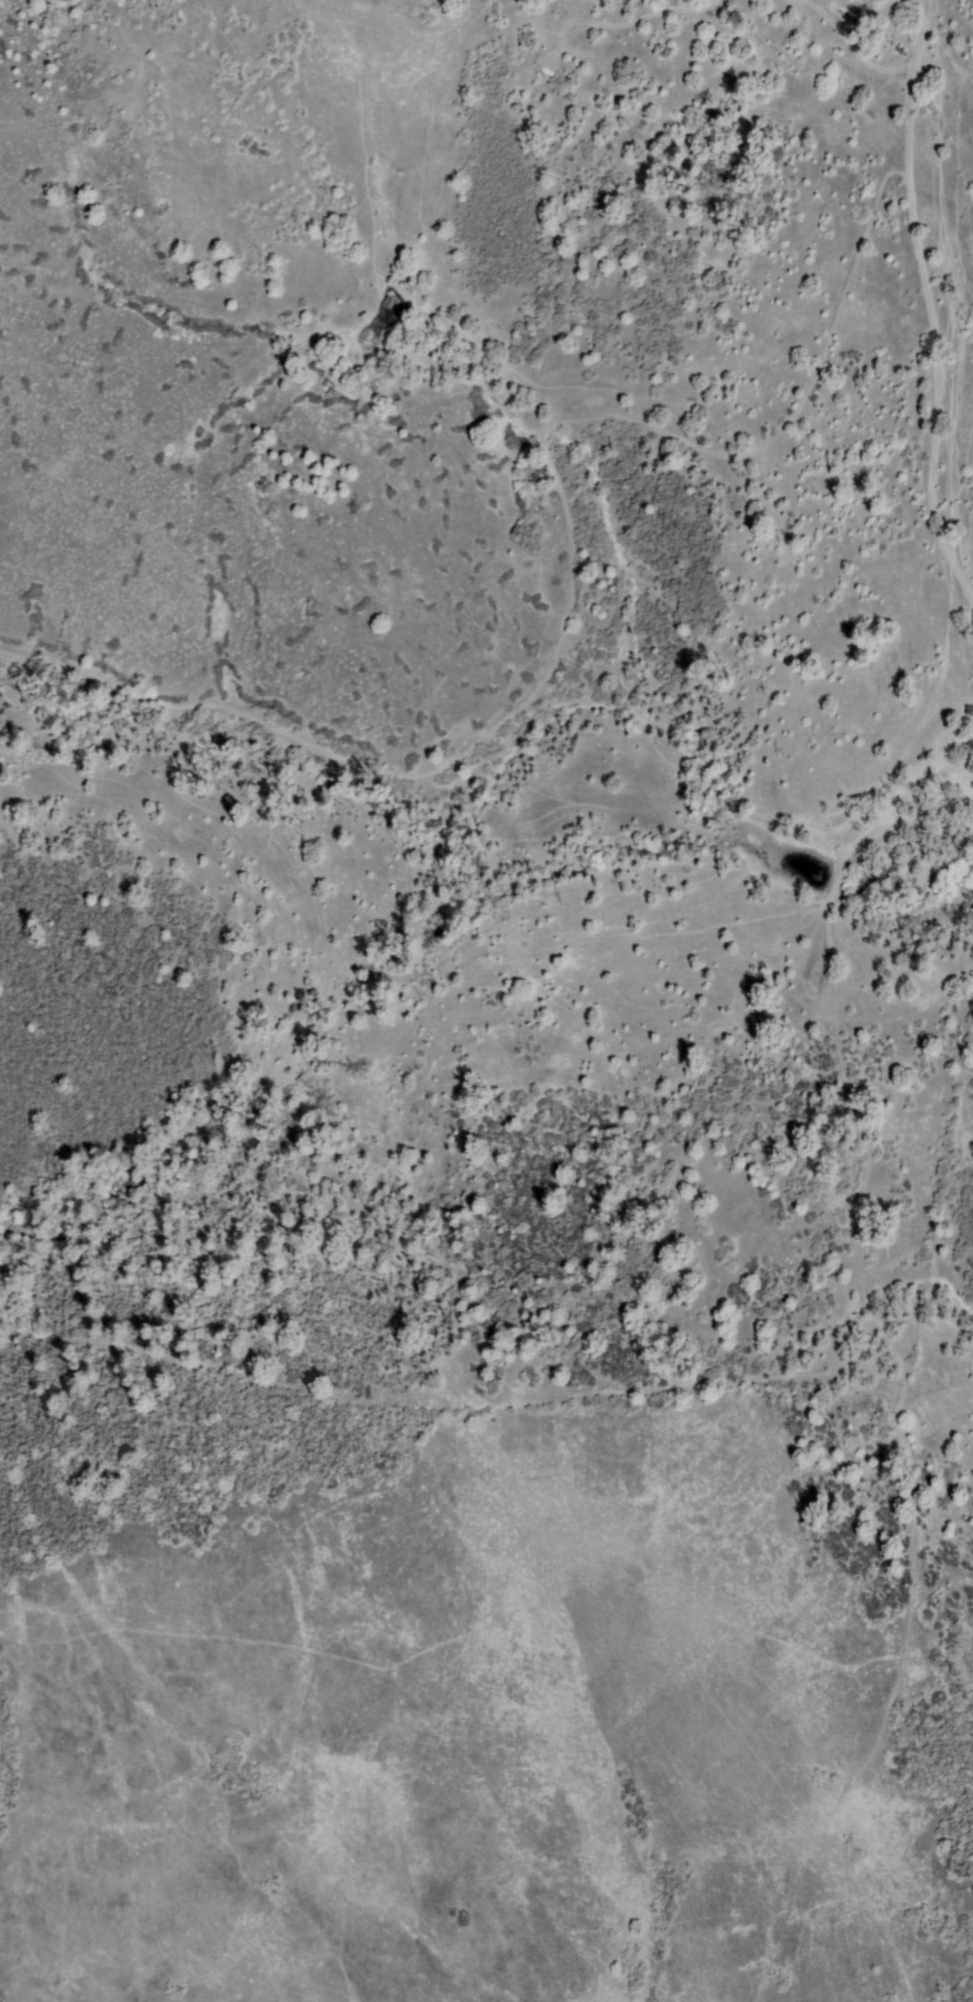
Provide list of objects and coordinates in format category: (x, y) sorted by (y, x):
road: (932, 300)
road: (575, 581)

